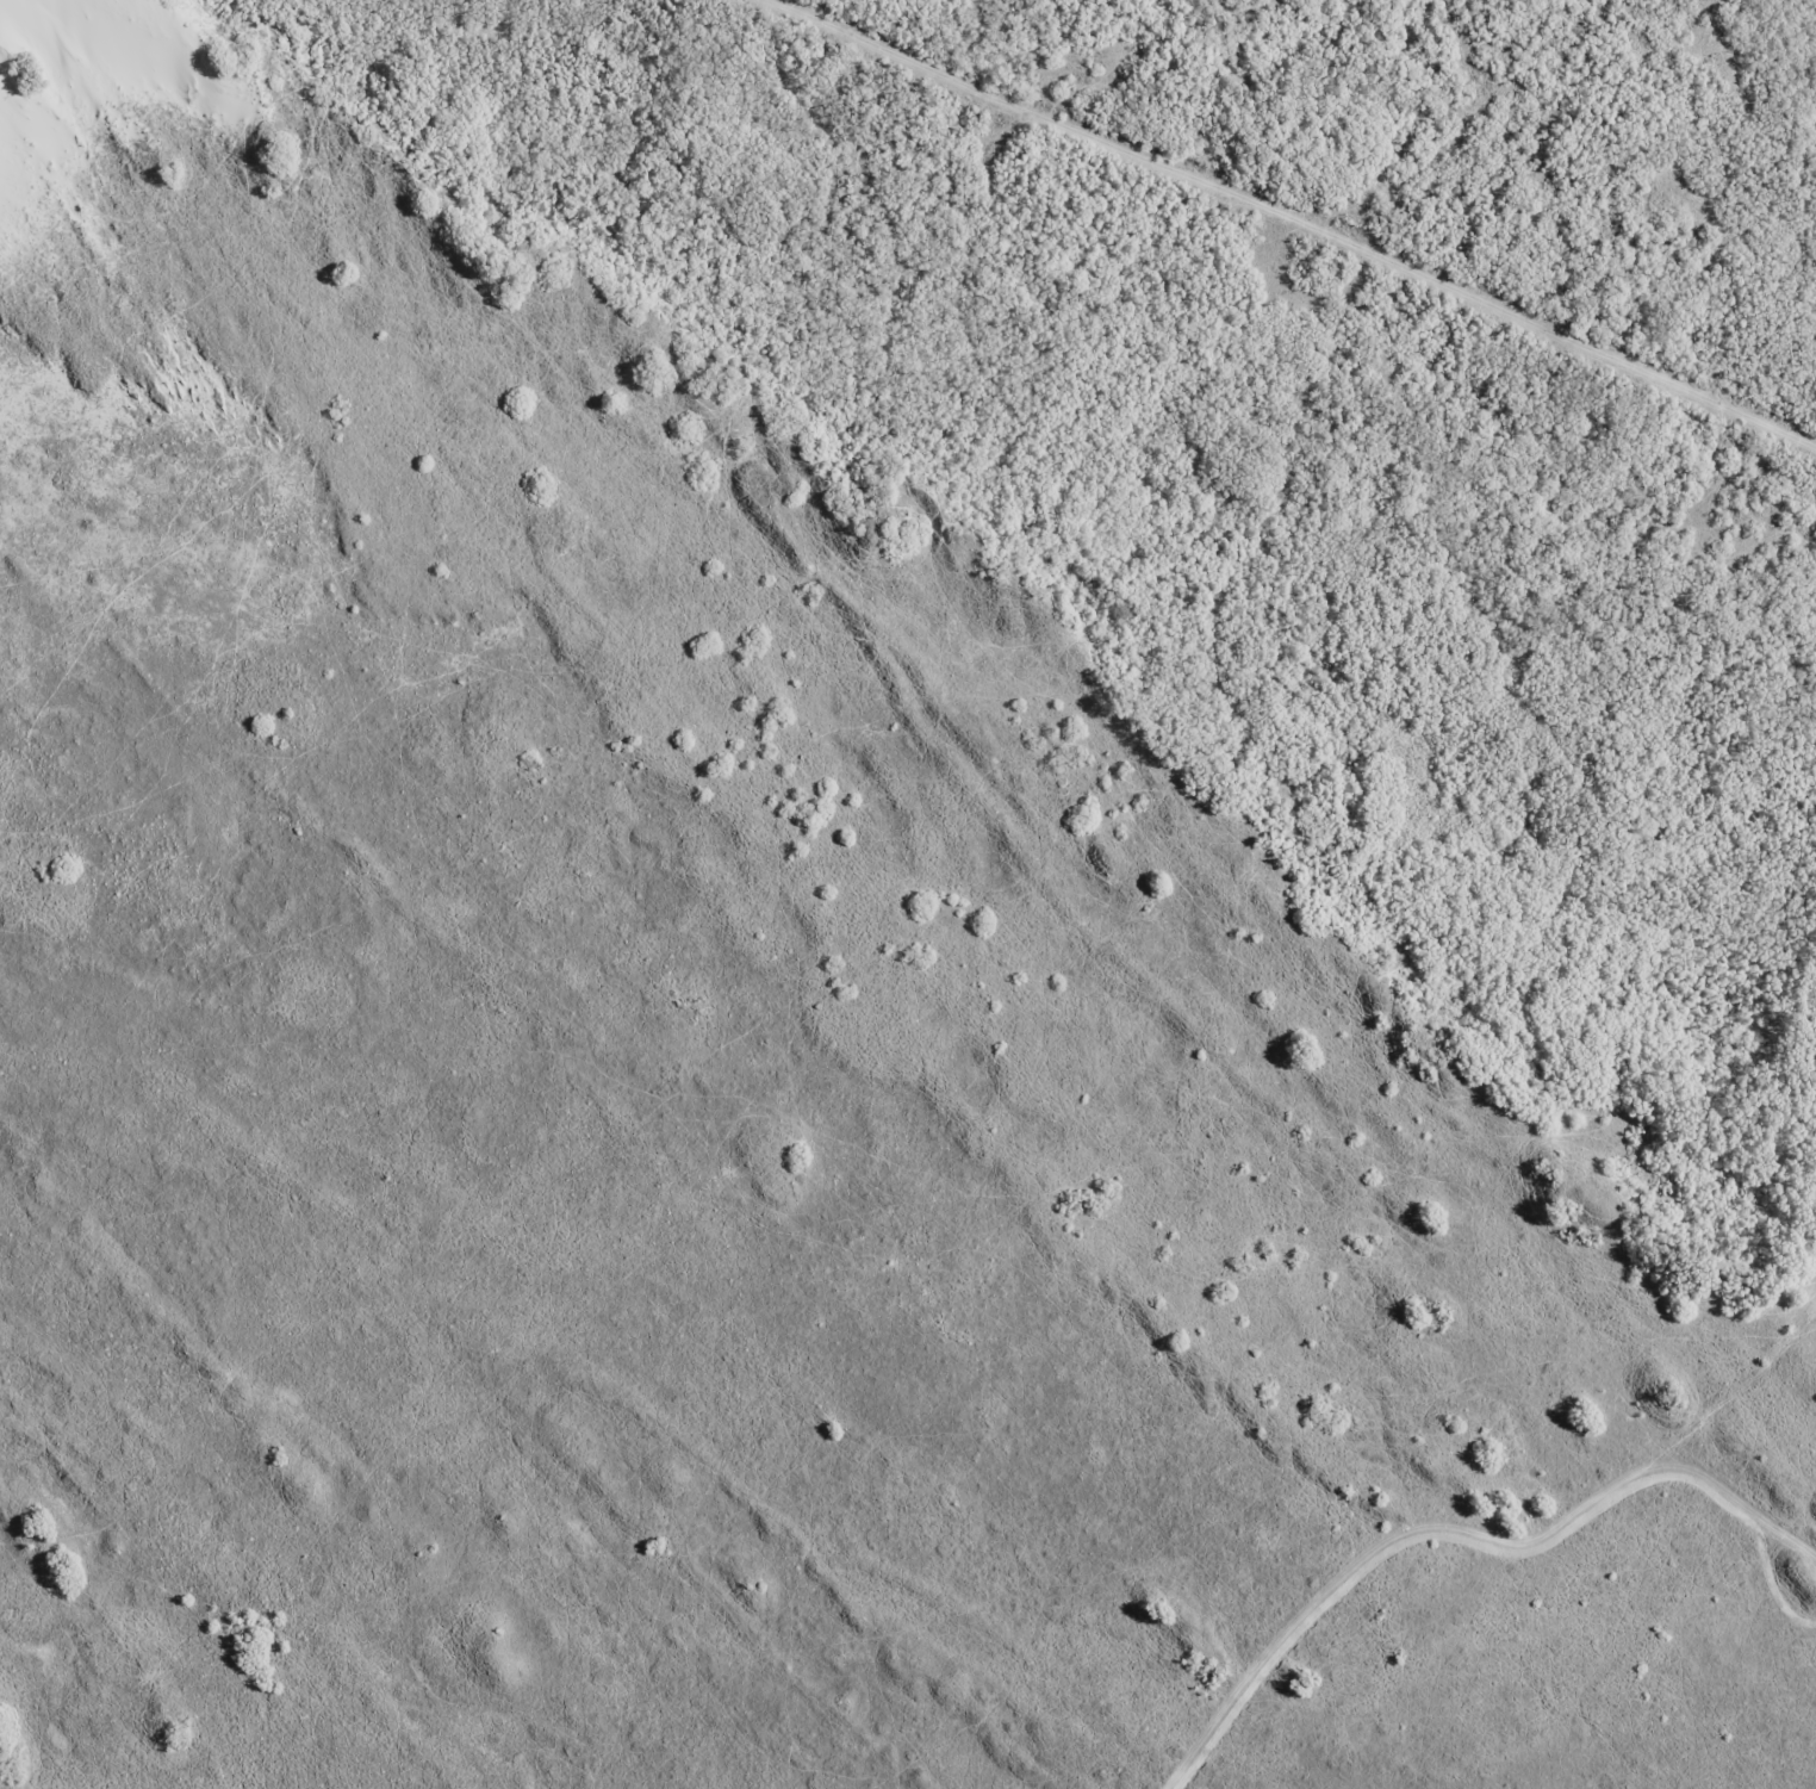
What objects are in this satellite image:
road: (1262, 230)

